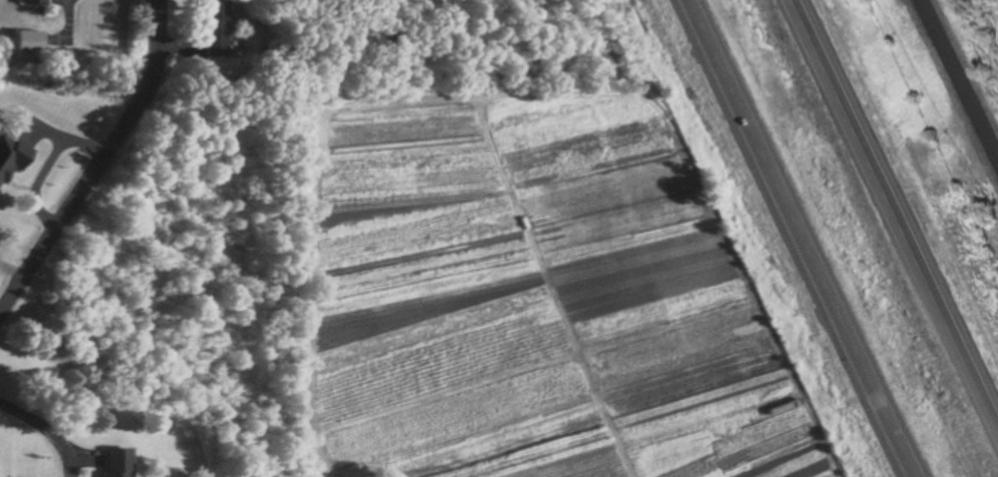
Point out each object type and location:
building: (37, 2)
building: (217, 27)
building: (30, 42)
road: (959, 81)
crop: (986, 89)
road: (99, 161)
road: (895, 215)
road: (798, 238)
building: (118, 462)

